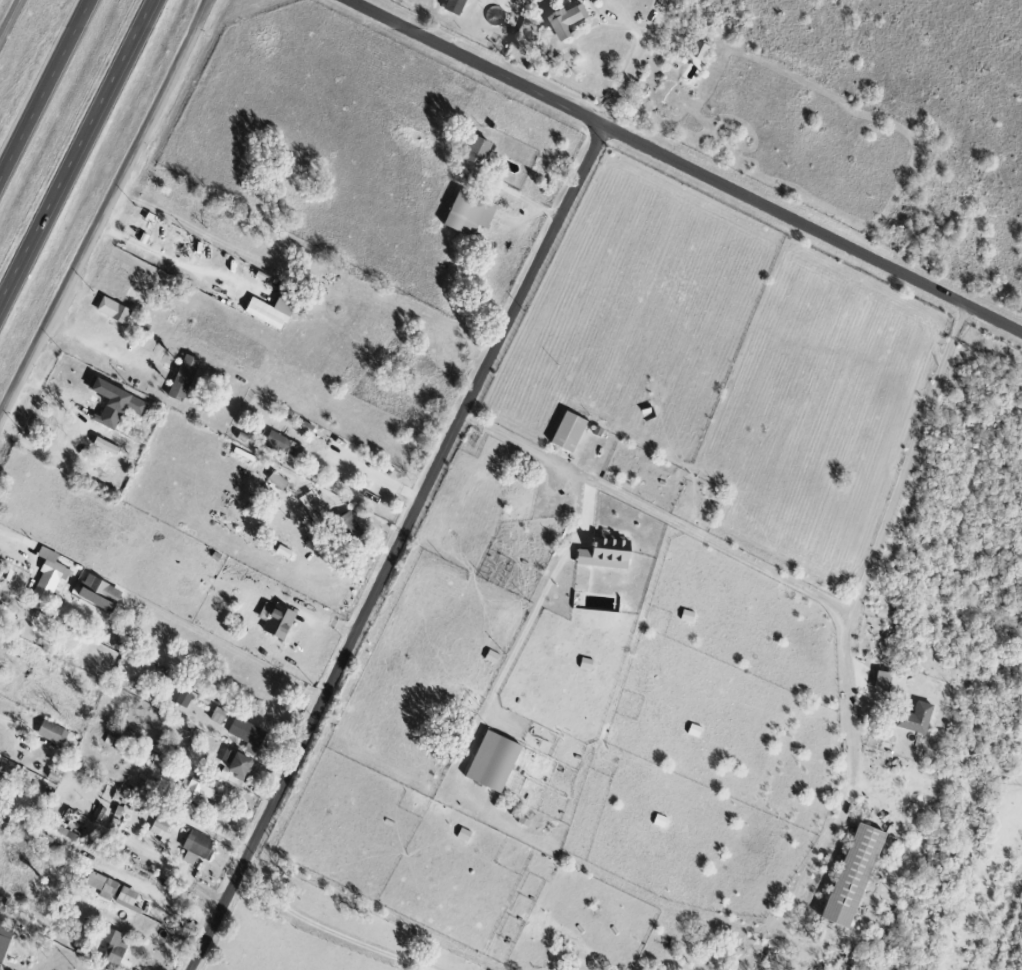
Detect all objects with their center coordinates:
building: (510, 1)
building: (452, 6)
building: (562, 19)
road: (11, 22)
building: (695, 49)
road: (634, 62)
road: (44, 88)
road: (78, 154)
building: (472, 154)
road: (684, 165)
road: (103, 209)
building: (466, 214)
road: (175, 261)
building: (112, 310)
building: (267, 311)
road: (97, 341)
building: (181, 376)
building: (113, 402)
building: (565, 430)
building: (282, 444)
road: (906, 463)
road: (385, 477)
building: (275, 479)
building: (310, 505)
building: (346, 525)
road: (19, 536)
road: (722, 546)
road: (395, 547)
building: (281, 550)
building: (48, 573)
building: (95, 592)
road: (541, 599)
building: (274, 619)
building: (887, 682)
building: (182, 698)
building: (217, 715)
building: (913, 717)
road: (4, 718)
building: (244, 731)
building: (50, 732)
building: (489, 760)
building: (236, 764)
building: (197, 786)
building: (159, 827)
building: (195, 846)
building: (849, 874)
building: (111, 890)
road: (328, 930)
building: (3, 938)
building: (112, 945)

